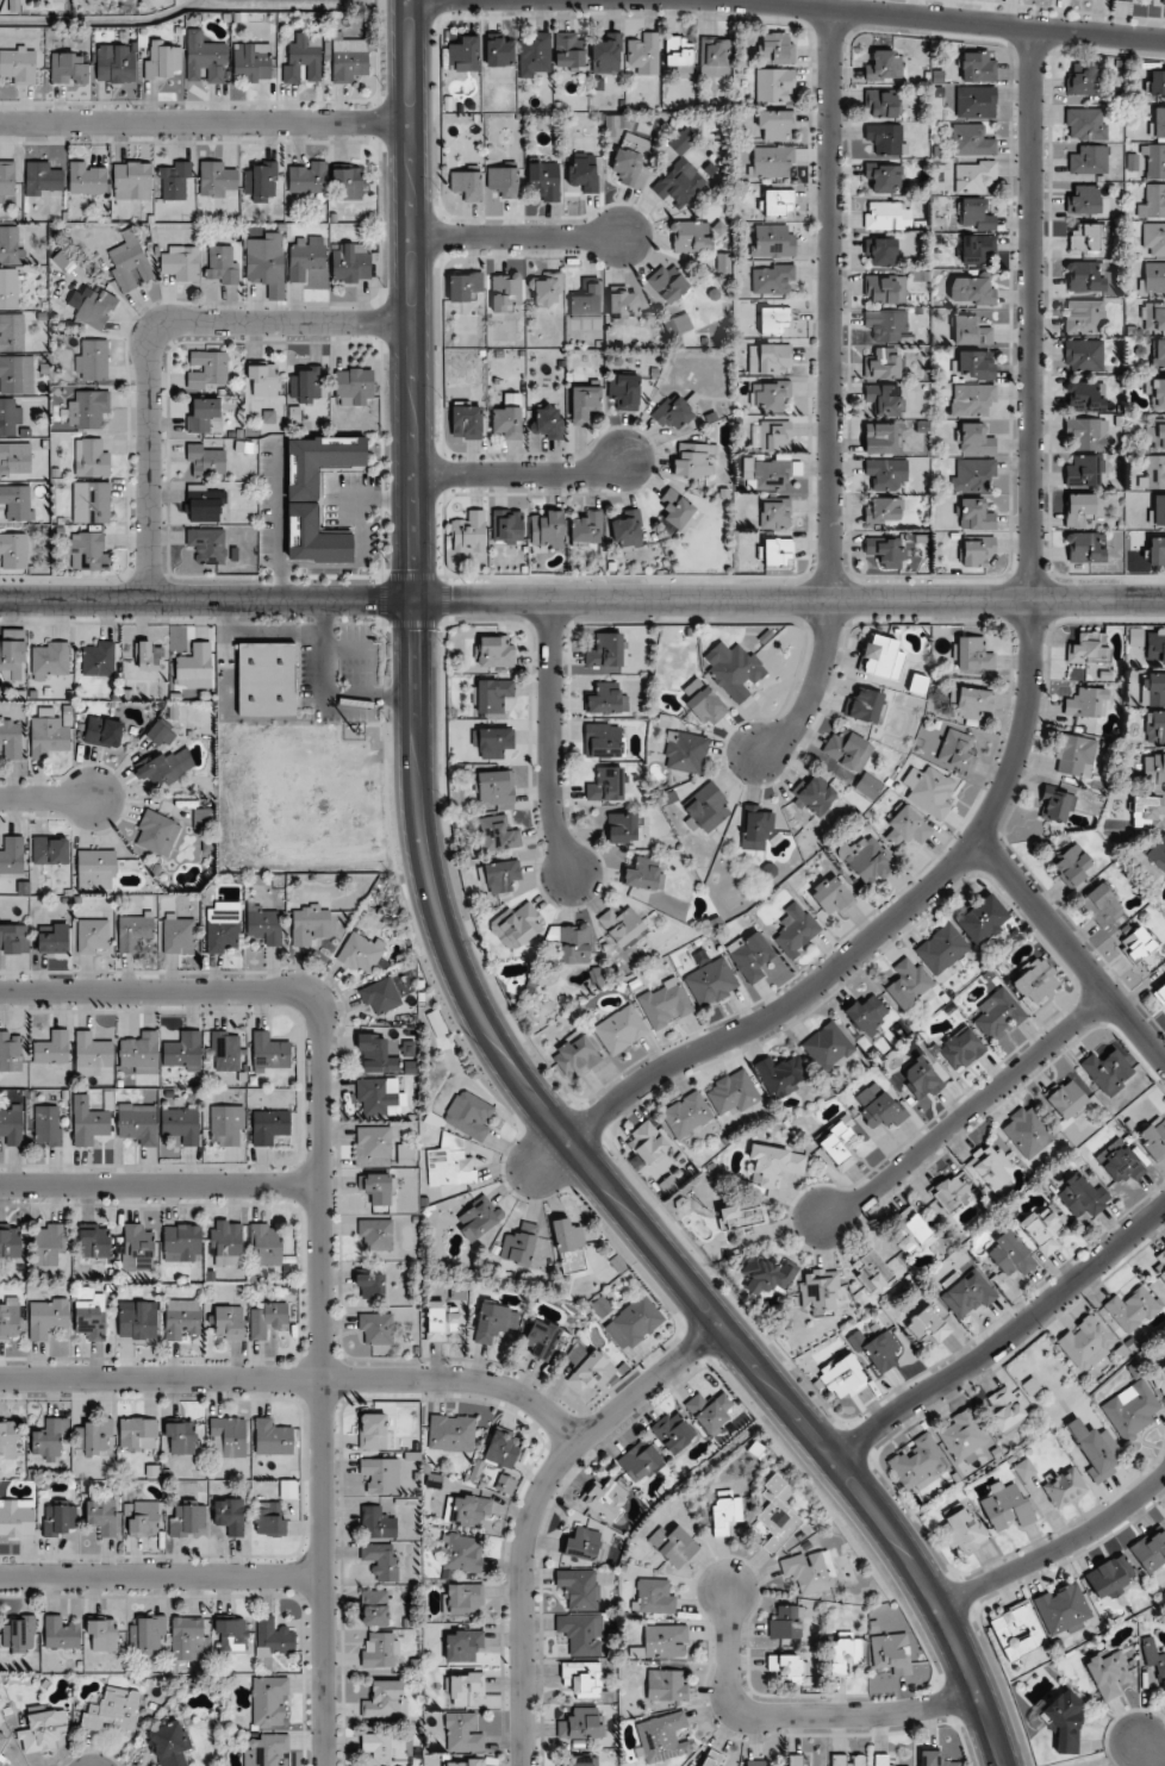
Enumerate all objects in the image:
building: (1124, 0)
building: (1163, 1)
road: (940, 19)
building: (777, 49)
building: (499, 50)
building: (569, 50)
building: (611, 51)
building: (678, 52)
building: (644, 54)
building: (462, 55)
building: (536, 56)
building: (715, 57)
building: (162, 58)
building: (303, 58)
building: (205, 60)
building: (348, 60)
building: (251, 62)
building: (116, 63)
building: (19, 64)
building: (884, 67)
building: (977, 67)
building: (69, 68)
building: (1083, 80)
building: (1157, 83)
building: (774, 85)
building: (976, 101)
building: (880, 104)
road: (206, 121)
building: (1159, 121)
building: (1085, 124)
building: (775, 125)
building: (886, 139)
building: (971, 141)
building: (680, 143)
building: (633, 160)
building: (1089, 160)
building: (700, 161)
building: (1155, 161)
building: (772, 163)
building: (584, 171)
building: (884, 177)
building: (976, 177)
building: (88, 179)
building: (307, 179)
building: (544, 179)
building: (43, 180)
building: (132, 180)
building: (217, 180)
building: (504, 180)
building: (6, 181)
building: (174, 181)
building: (262, 182)
building: (680, 182)
building: (348, 183)
building: (467, 183)
building: (1083, 200)
building: (1153, 201)
building: (778, 204)
building: (977, 214)
building: (887, 216)
road: (518, 236)
building: (689, 237)
building: (1085, 237)
building: (1153, 238)
building: (773, 242)
building: (11, 245)
building: (979, 249)
building: (880, 251)
building: (305, 257)
building: (130, 263)
building: (180, 263)
building: (263, 263)
building: (351, 263)
building: (723, 263)
building: (222, 266)
building: (1084, 276)
building: (1152, 277)
building: (772, 279)
building: (667, 283)
building: (463, 286)
building: (548, 288)
building: (886, 288)
building: (8, 289)
building: (972, 291)
building: (506, 293)
road: (413, 299)
building: (585, 300)
building: (624, 304)
building: (96, 308)
building: (1084, 316)
building: (1153, 317)
building: (773, 322)
building: (886, 325)
building: (970, 331)
building: (11, 332)
road: (151, 335)
building: (1158, 354)
building: (1084, 355)
building: (92, 360)
building: (768, 360)
building: (883, 363)
building: (976, 364)
building: (207, 370)
building: (14, 374)
building: (263, 380)
building: (307, 385)
building: (354, 386)
building: (624, 392)
building: (1155, 393)
road: (830, 394)
building: (770, 395)
building: (1084, 397)
building: (885, 399)
building: (972, 399)
building: (585, 403)
building: (87, 408)
building: (201, 413)
building: (673, 413)
building: (10, 417)
building: (466, 420)
building: (548, 422)
building: (506, 423)
building: (1157, 432)
building: (1088, 433)
building: (775, 436)
building: (883, 437)
building: (974, 439)
building: (14, 458)
building: (91, 458)
building: (694, 460)
building: (205, 461)
building: (1084, 470)
building: (1153, 473)
road: (522, 474)
building: (886, 474)
building: (771, 475)
building: (973, 475)
building: (317, 497)
building: (17, 503)
building: (91, 503)
building: (206, 504)
building: (1078, 508)
building: (678, 510)
building: (884, 510)
building: (1157, 511)
building: (775, 513)
building: (976, 514)
building: (506, 526)
building: (548, 529)
building: (587, 530)
building: (628, 530)
building: (469, 532)
building: (207, 545)
building: (1086, 547)
building: (14, 550)
building: (1157, 550)
building: (88, 551)
building: (886, 551)
building: (978, 551)
building: (777, 553)
road: (317, 562)
road: (282, 581)
road: (207, 600)
road: (790, 600)
road: (275, 634)
building: (1134, 636)
building: (1154, 644)
building: (1088, 648)
building: (612, 649)
building: (12, 650)
building: (496, 651)
building: (973, 654)
road: (226, 656)
building: (881, 657)
building: (98, 659)
building: (149, 660)
building: (50, 661)
building: (194, 662)
building: (734, 670)
building: (267, 680)
building: (1152, 689)
road: (324, 693)
building: (493, 695)
building: (613, 699)
building: (972, 703)
building: (1086, 703)
building: (866, 705)
building: (708, 706)
road: (1027, 722)
building: (1154, 726)
building: (104, 732)
building: (48, 734)
building: (161, 734)
building: (10, 738)
road: (553, 741)
building: (493, 742)
building: (611, 742)
building: (848, 749)
building: (957, 750)
building: (685, 751)
building: (1076, 753)
building: (168, 767)
building: (1154, 768)
building: (613, 784)
building: (496, 788)
building: (929, 791)
building: (815, 794)
road: (46, 798)
building: (1057, 806)
building: (706, 809)
building: (1146, 811)
building: (909, 826)
building: (622, 828)
building: (756, 828)
building: (156, 834)
building: (498, 835)
building: (50, 850)
building: (1158, 853)
building: (11, 856)
building: (867, 859)
building: (1073, 865)
building: (96, 870)
building: (644, 874)
building: (500, 876)
building: (831, 896)
building: (1101, 905)
building: (982, 918)
building: (310, 924)
building: (521, 925)
building: (623, 925)
building: (264, 926)
building: (223, 929)
building: (796, 930)
building: (133, 932)
building: (93, 936)
building: (179, 936)
building: (13, 938)
building: (52, 938)
building: (1136, 943)
building: (574, 944)
building: (942, 949)
road: (1072, 950)
building: (361, 951)
building: (750, 956)
building: (768, 966)
building: (1035, 981)
building: (711, 982)
building: (908, 982)
building: (1160, 993)
building: (380, 997)
building: (665, 1004)
building: (998, 1013)
building: (867, 1015)
building: (622, 1029)
building: (828, 1047)
building: (961, 1049)
building: (51, 1050)
building: (11, 1052)
building: (183, 1052)
building: (225, 1052)
building: (92, 1054)
building: (141, 1054)
building: (375, 1055)
building: (575, 1055)
building: (1107, 1071)
building: (780, 1075)
building: (921, 1078)
building: (734, 1092)
building: (379, 1098)
building: (1066, 1098)
building: (878, 1106)
road: (971, 1111)
building: (469, 1116)
building: (687, 1116)
building: (88, 1123)
building: (138, 1123)
building: (226, 1124)
building: (11, 1125)
building: (181, 1125)
building: (48, 1127)
building: (269, 1127)
building: (1028, 1131)
building: (1153, 1137)
building: (837, 1143)
building: (647, 1144)
building: (373, 1147)
building: (1120, 1161)
building: (774, 1165)
building: (450, 1167)
building: (990, 1167)
road: (161, 1185)
building: (376, 1188)
building: (949, 1192)
building: (1083, 1196)
road: (629, 1212)
building: (740, 1215)
building: (478, 1219)
road: (322, 1225)
building: (1041, 1230)
building: (914, 1233)
building: (376, 1234)
building: (226, 1238)
building: (11, 1241)
building: (94, 1241)
building: (182, 1243)
building: (266, 1244)
building: (519, 1244)
building: (50, 1247)
building: (137, 1248)
building: (569, 1248)
building: (1010, 1254)
building: (1159, 1266)
building: (873, 1271)
building: (765, 1274)
building: (370, 1284)
building: (820, 1291)
building: (1132, 1310)
building: (91, 1313)
building: (48, 1317)
building: (267, 1317)
building: (10, 1319)
building: (137, 1319)
building: (182, 1321)
building: (442, 1321)
building: (637, 1321)
building: (229, 1323)
building: (496, 1323)
building: (928, 1325)
building: (376, 1328)
building: (542, 1340)
road: (1005, 1341)
building: (1085, 1343)
building: (881, 1352)
building: (590, 1371)
road: (300, 1378)
building: (843, 1378)
building: (1159, 1379)
building: (1004, 1408)
building: (1132, 1410)
building: (710, 1412)
building: (372, 1431)
building: (673, 1433)
building: (451, 1434)
building: (138, 1435)
building: (964, 1435)
building: (93, 1436)
building: (229, 1436)
building: (50, 1437)
building: (180, 1437)
building: (272, 1437)
building: (7, 1440)
building: (503, 1449)
building: (1096, 1449)
building: (638, 1461)
building: (918, 1464)
building: (379, 1477)
building: (505, 1485)
building: (1063, 1486)
building: (613, 1503)
road: (536, 1505)
building: (1005, 1506)
building: (468, 1510)
building: (273, 1514)
building: (101, 1516)
building: (230, 1516)
building: (17, 1518)
building: (58, 1518)
building: (186, 1518)
building: (143, 1519)
building: (777, 1521)
building: (378, 1523)
building: (962, 1531)
building: (582, 1543)
building: (673, 1546)
road: (1057, 1549)
building: (1150, 1550)
building: (462, 1554)
building: (382, 1561)
building: (809, 1571)
road: (162, 1577)
building: (1109, 1577)
building: (580, 1589)
building: (655, 1597)
building: (462, 1599)
building: (374, 1609)
building: (1063, 1609)
building: (786, 1623)
building: (1017, 1630)
building: (62, 1634)
building: (231, 1634)
building: (582, 1634)
building: (19, 1635)
building: (101, 1635)
building: (148, 1635)
building: (189, 1639)
building: (274, 1640)
building: (463, 1645)
building: (378, 1650)
building: (891, 1654)
building: (845, 1655)
building: (1153, 1658)
building: (789, 1668)
building: (581, 1680)
building: (666, 1686)
building: (463, 1689)
building: (386, 1699)
building: (269, 1702)
building: (113, 1712)
road: (800, 1716)
building: (1065, 1722)
building: (581, 1724)
building: (46, 1727)
building: (463, 1733)
building: (662, 1737)
building: (2, 1741)
building: (170, 1743)
road: (1151, 1748)
building: (385, 1749)
building: (266, 1752)
building: (712, 1759)
building: (934, 1759)
building: (578, 1760)
building: (796, 1760)
building: (847, 1760)
building: (880, 1760)
building: (2, 1762)
building: (465, 1762)
building: (761, 1764)

